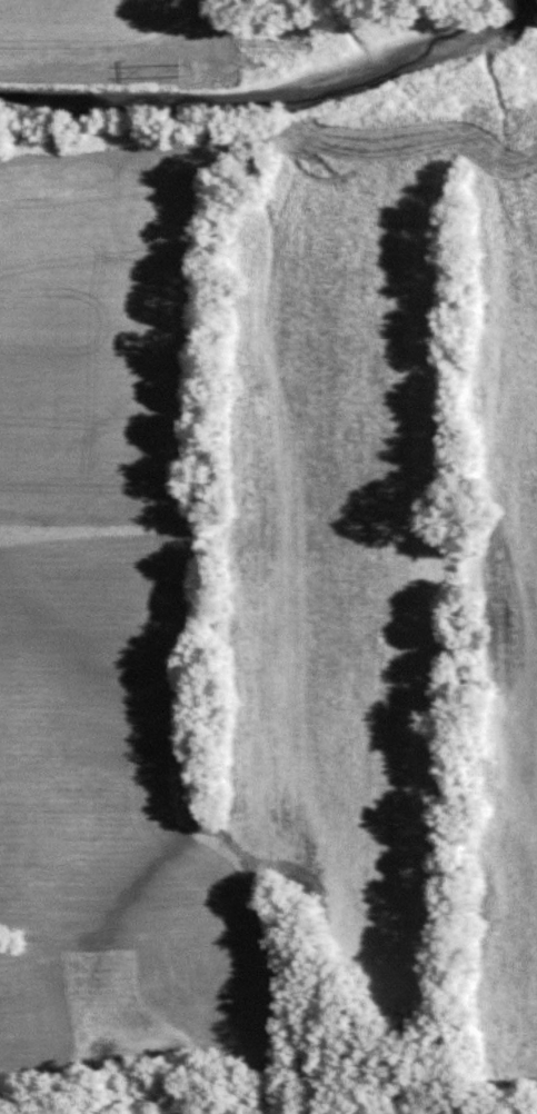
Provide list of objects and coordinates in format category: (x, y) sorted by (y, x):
power tower: (193, 64)

